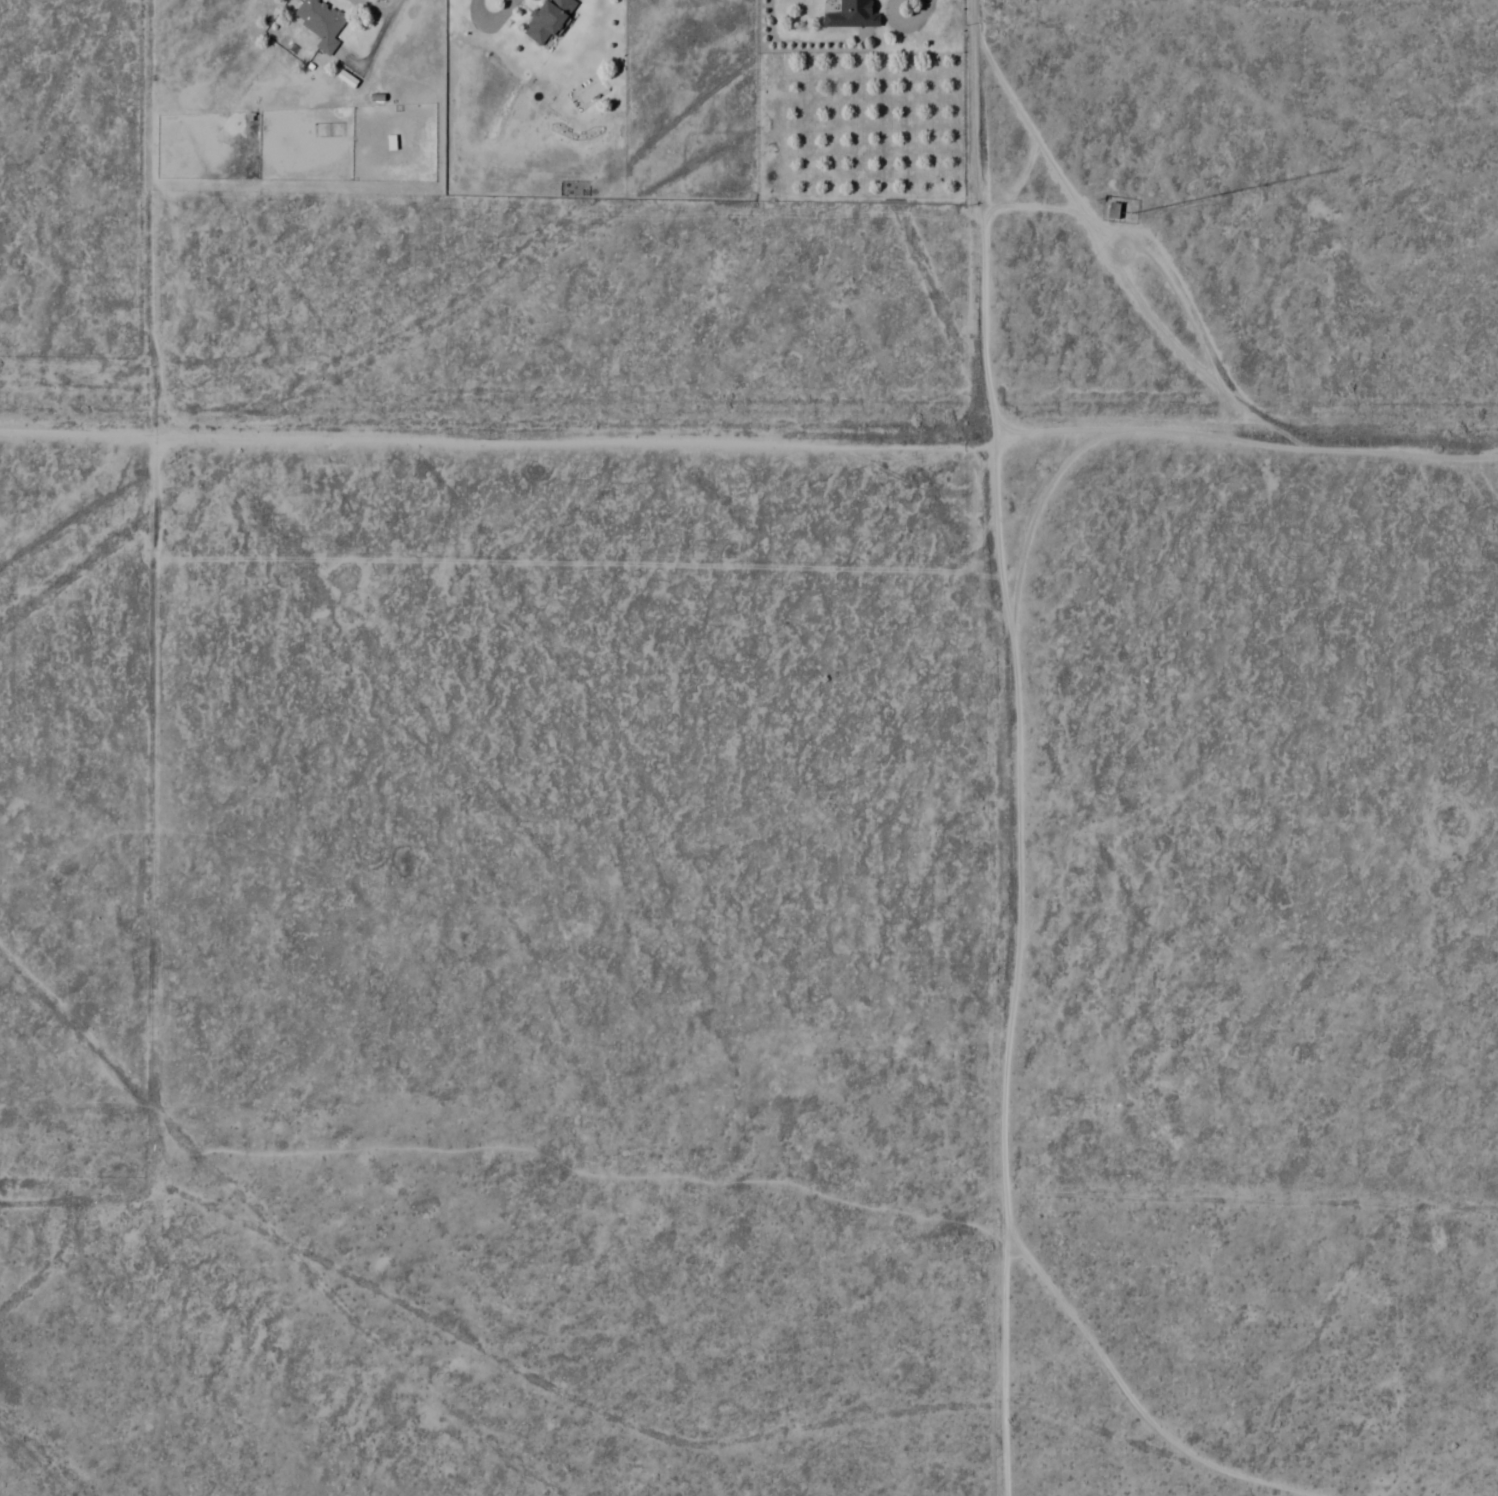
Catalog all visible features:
building: (852, 14)
building: (547, 20)
building: (320, 22)
road: (1020, 118)
road: (1025, 204)
building: (1112, 210)
road: (150, 217)
road: (1086, 225)
road: (1180, 291)
road: (1181, 355)
road: (1143, 426)
road: (78, 432)
road: (574, 441)
road: (1396, 450)
road: (1038, 504)
road: (1014, 747)
road: (149, 817)
road: (570, 1397)

